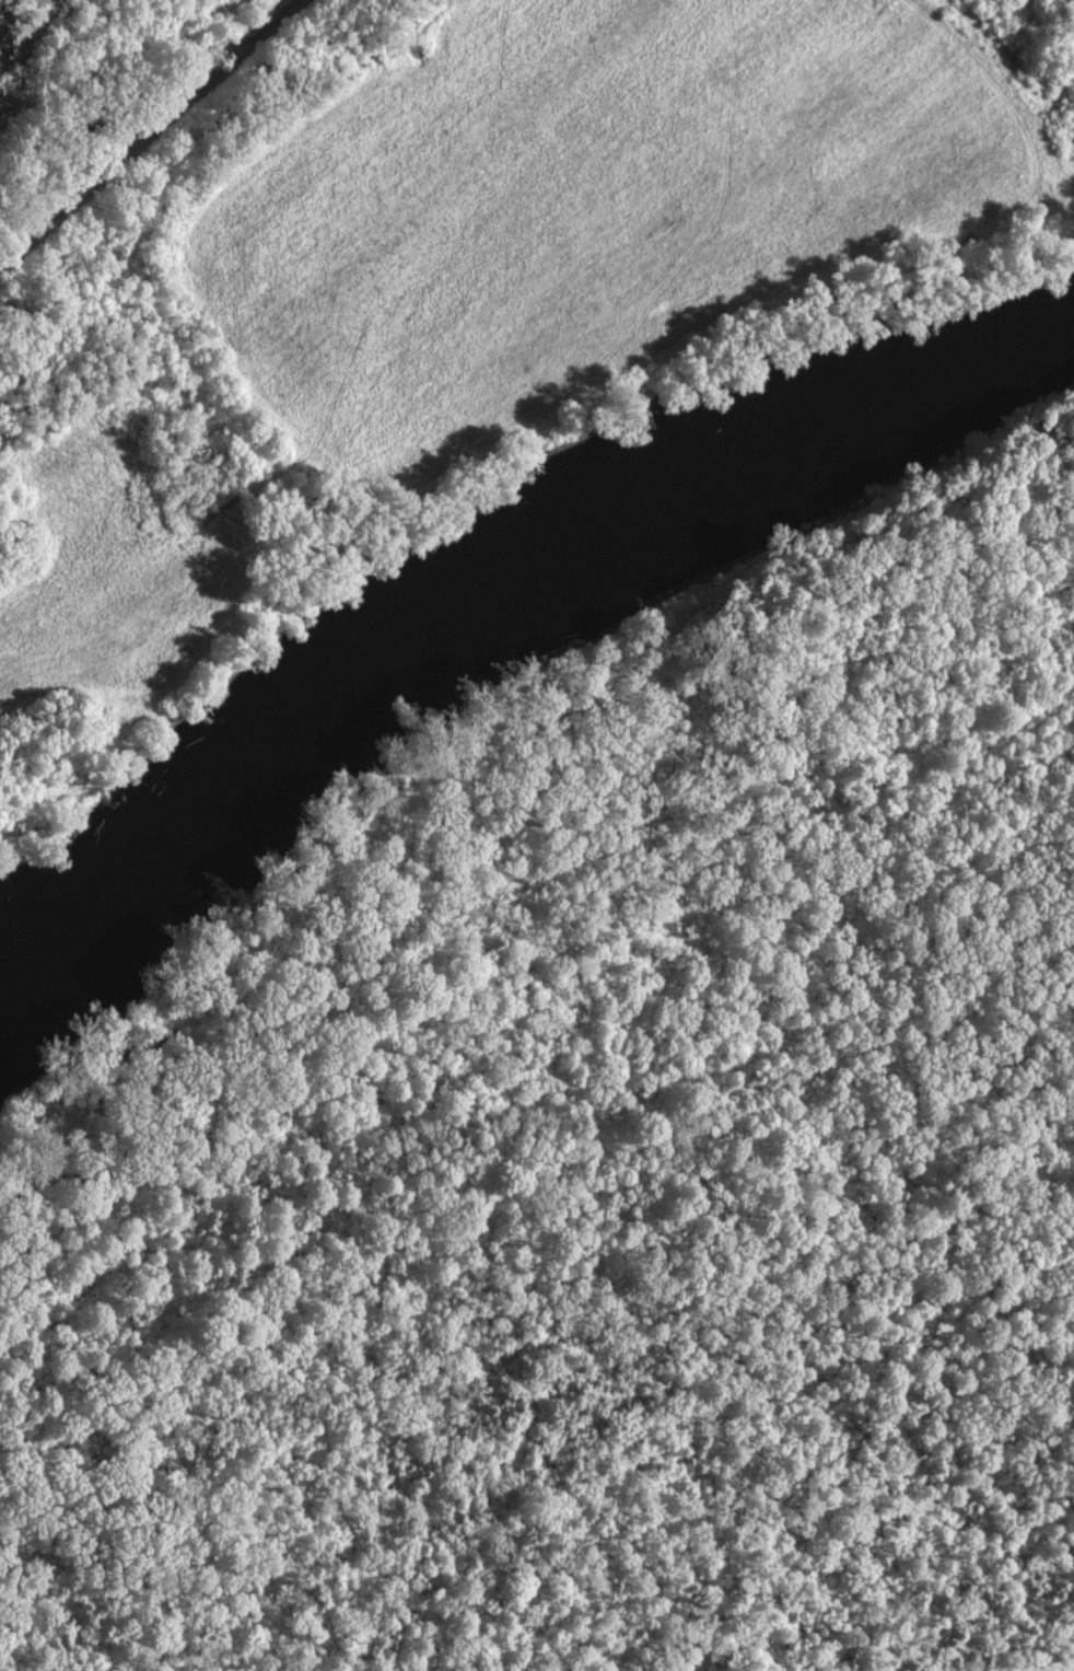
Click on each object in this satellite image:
railway: (148, 131)
river: (489, 562)

